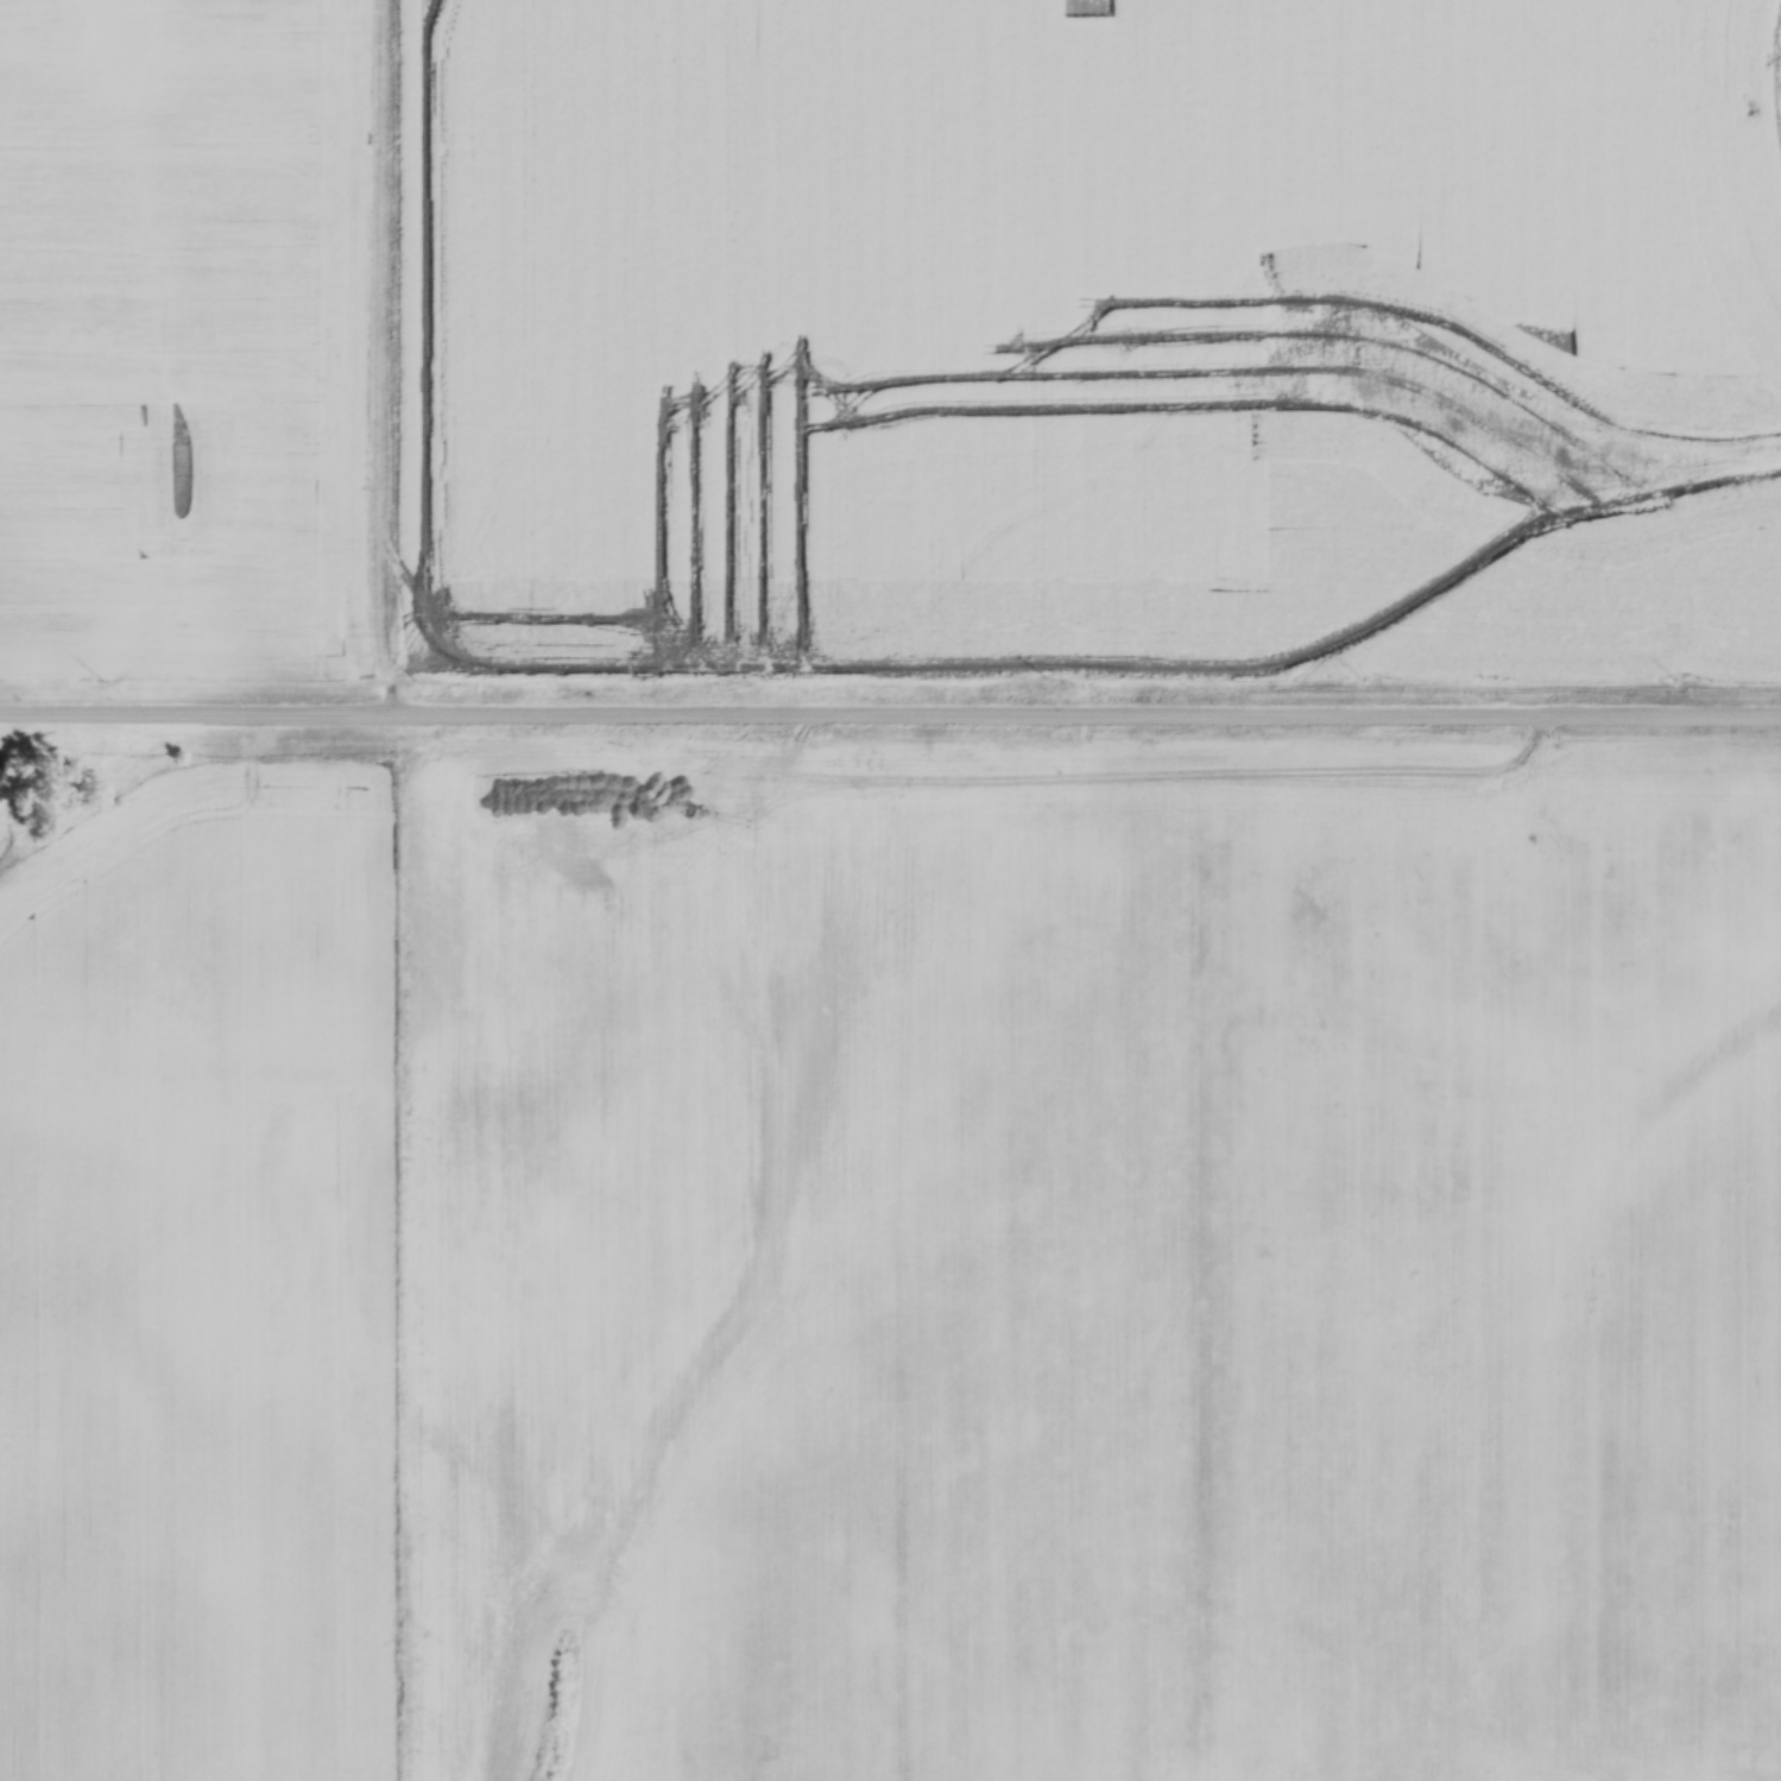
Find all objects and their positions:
road: (890, 713)

